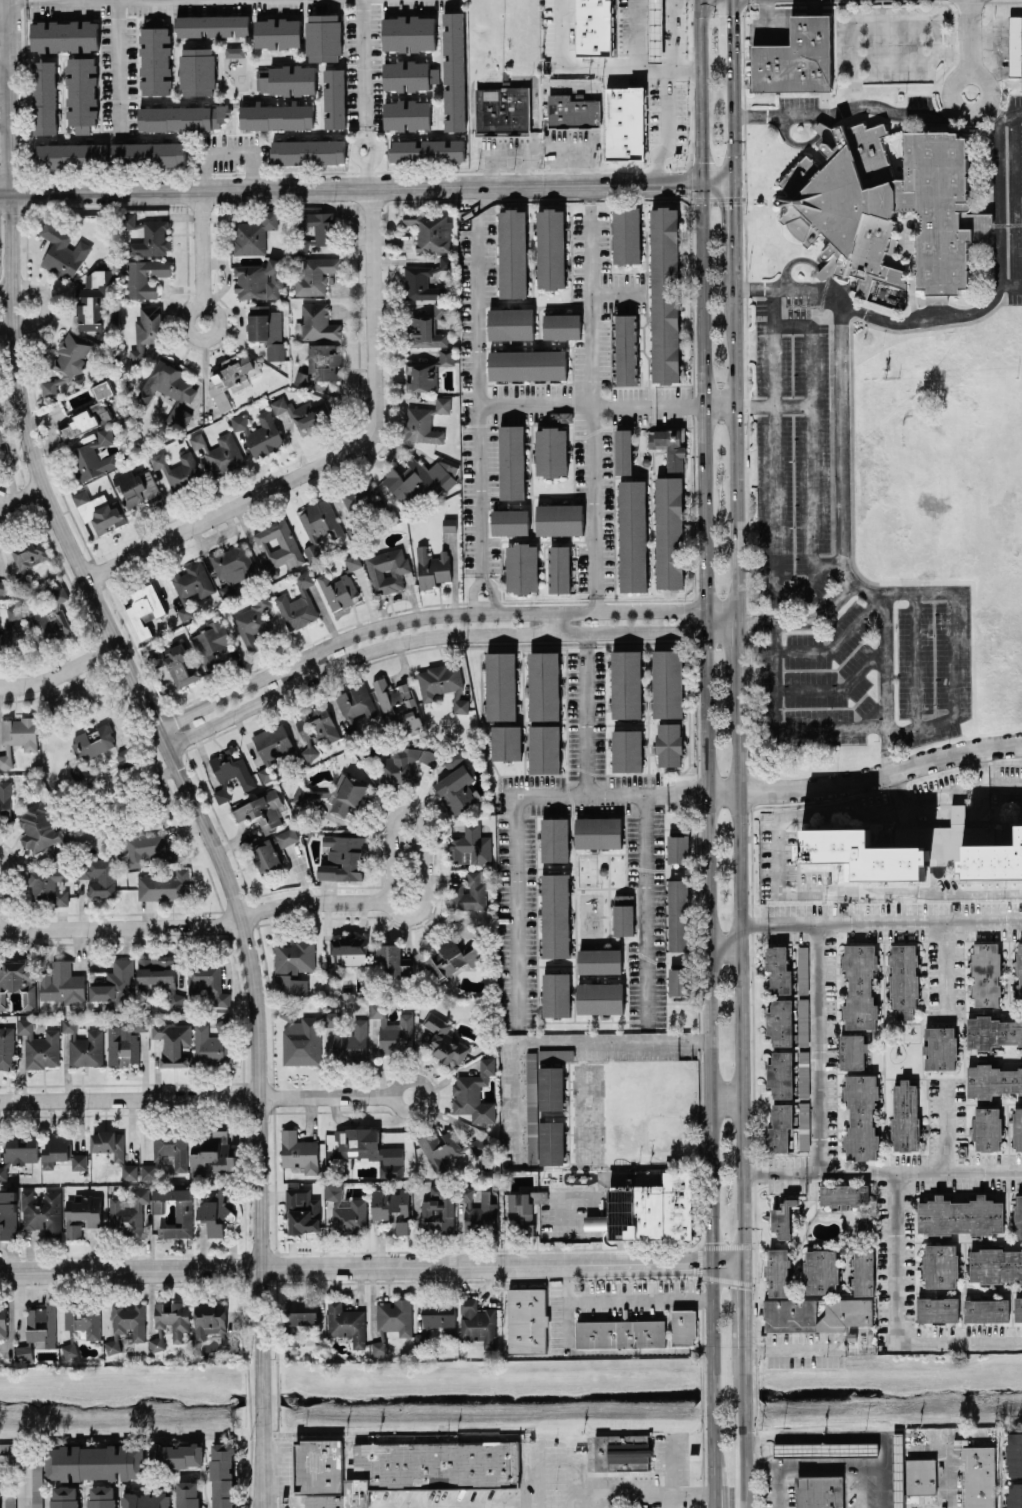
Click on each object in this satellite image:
building: (212, 24)
building: (594, 27)
road: (730, 29)
building: (655, 30)
building: (277, 32)
building: (408, 32)
road: (970, 34)
building: (64, 35)
building: (323, 37)
road: (936, 38)
building: (1015, 45)
building: (234, 51)
road: (953, 51)
building: (155, 56)
road: (6, 57)
building: (795, 58)
road: (599, 63)
road: (855, 63)
road: (118, 69)
building: (197, 70)
building: (454, 70)
building: (410, 75)
road: (958, 78)
building: (286, 79)
building: (81, 93)
road: (366, 93)
building: (43, 97)
building: (334, 97)
road: (846, 106)
building: (502, 110)
building: (573, 111)
road: (1010, 113)
building: (407, 114)
building: (277, 116)
building: (181, 117)
road: (6, 121)
road: (732, 122)
building: (625, 123)
road: (666, 128)
building: (426, 150)
road: (225, 151)
building: (308, 151)
road: (571, 151)
building: (70, 153)
building: (149, 153)
road: (505, 154)
road: (366, 188)
parking lot: (1013, 197)
road: (1015, 198)
building: (885, 205)
building: (315, 229)
building: (429, 230)
road: (733, 230)
building: (253, 233)
building: (626, 234)
building: (146, 235)
building: (63, 248)
road: (201, 248)
building: (550, 248)
building: (512, 253)
building: (315, 274)
building: (144, 277)
building: (423, 279)
building: (258, 280)
road: (1010, 283)
road: (616, 292)
building: (664, 294)
building: (93, 298)
road: (47, 306)
road: (590, 308)
road: (192, 309)
road: (701, 310)
road: (958, 315)
building: (315, 322)
building: (511, 323)
road: (792, 324)
building: (427, 326)
building: (562, 326)
building: (266, 330)
building: (145, 331)
building: (626, 349)
road: (371, 356)
building: (67, 361)
building: (320, 363)
building: (527, 364)
building: (427, 371)
building: (231, 377)
building: (77, 378)
building: (168, 390)
road: (479, 394)
road: (535, 404)
road: (623, 404)
road: (678, 404)
road: (718, 404)
road: (772, 405)
building: (90, 411)
building: (561, 416)
building: (303, 419)
building: (425, 421)
building: (1, 433)
building: (259, 433)
road: (775, 438)
building: (669, 445)
road: (735, 447)
building: (551, 451)
building: (623, 451)
building: (220, 453)
road: (810, 453)
building: (92, 457)
building: (511, 461)
building: (178, 470)
building: (419, 478)
building: (138, 488)
road: (843, 493)
road: (24, 495)
building: (359, 502)
road: (594, 507)
road: (3, 509)
building: (98, 510)
building: (559, 519)
building: (510, 521)
building: (319, 524)
building: (449, 524)
road: (190, 531)
building: (669, 532)
building: (632, 535)
building: (278, 546)
building: (25, 561)
building: (232, 567)
building: (431, 567)
building: (522, 567)
building: (559, 568)
building: (387, 569)
road: (482, 573)
road: (811, 580)
building: (191, 585)
building: (341, 585)
building: (3, 586)
road: (471, 591)
road: (490, 592)
building: (298, 603)
building: (145, 609)
road: (422, 616)
building: (52, 620)
road: (802, 620)
road: (558, 621)
road: (720, 621)
building: (253, 622)
building: (8, 627)
road: (426, 635)
building: (212, 638)
road: (837, 639)
road: (736, 656)
road: (914, 658)
building: (175, 662)
road: (304, 667)
road: (61, 672)
building: (667, 683)
road: (886, 683)
building: (443, 684)
building: (626, 684)
building: (500, 685)
building: (543, 685)
road: (836, 686)
road: (953, 687)
building: (356, 703)
building: (397, 705)
road: (587, 712)
road: (779, 724)
building: (316, 729)
building: (19, 732)
building: (93, 742)
building: (506, 742)
building: (669, 744)
road: (168, 745)
building: (544, 748)
building: (627, 750)
building: (125, 757)
building: (452, 758)
building: (5, 760)
building: (405, 764)
road: (980, 766)
building: (231, 768)
building: (265, 774)
road: (864, 778)
road: (1005, 782)
road: (899, 787)
building: (457, 789)
road: (941, 793)
building: (222, 794)
building: (338, 794)
building: (5, 798)
building: (262, 811)
building: (958, 813)
road: (417, 815)
road: (516, 818)
building: (37, 828)
building: (598, 832)
building: (555, 839)
building: (470, 845)
building: (678, 848)
building: (149, 849)
building: (271, 849)
building: (863, 854)
building: (57, 857)
building: (343, 857)
building: (993, 860)
road: (3, 865)
building: (99, 876)
building: (48, 885)
building: (164, 885)
building: (468, 893)
road: (801, 895)
road: (645, 910)
building: (623, 914)
building: (555, 915)
building: (678, 915)
road: (893, 921)
road: (752, 923)
road: (195, 925)
road: (706, 942)
road: (723, 948)
building: (349, 949)
building: (393, 958)
building: (450, 959)
building: (599, 960)
building: (292, 964)
road: (944, 967)
building: (802, 968)
building: (778, 969)
building: (1019, 970)
building: (332, 972)
building: (986, 973)
building: (904, 974)
building: (159, 978)
road: (739, 978)
building: (207, 980)
building: (679, 980)
building: (18, 981)
building: (62, 983)
building: (116, 985)
building: (860, 987)
building: (556, 994)
building: (600, 997)
building: (904, 1012)
building: (802, 1021)
building: (780, 1022)
building: (393, 1031)
building: (992, 1031)
building: (300, 1037)
building: (347, 1037)
building: (444, 1040)
road: (611, 1040)
building: (124, 1042)
building: (173, 1043)
building: (39, 1045)
building: (83, 1045)
building: (209, 1046)
building: (6, 1047)
road: (817, 1047)
building: (940, 1047)
building: (852, 1051)
building: (803, 1073)
building: (780, 1074)
building: (992, 1079)
building: (550, 1087)
building: (474, 1093)
road: (195, 1097)
road: (724, 1100)
road: (515, 1103)
road: (400, 1107)
building: (531, 1111)
building: (905, 1115)
building: (861, 1116)
road: (945, 1124)
building: (804, 1125)
building: (780, 1126)
building: (987, 1128)
building: (1018, 1129)
building: (551, 1142)
building: (479, 1145)
building: (438, 1147)
building: (173, 1148)
building: (56, 1149)
building: (369, 1149)
building: (114, 1150)
building: (18, 1151)
building: (299, 1151)
building: (78, 1161)
building: (148, 1171)
road: (912, 1171)
road: (772, 1172)
road: (574, 1192)
building: (844, 1194)
building: (388, 1203)
building: (524, 1207)
building: (217, 1210)
building: (438, 1210)
building: (648, 1210)
building: (41, 1211)
building: (128, 1211)
building: (175, 1211)
building: (302, 1211)
building: (347, 1212)
building: (7, 1214)
building: (82, 1214)
building: (960, 1215)
building: (1018, 1216)
building: (782, 1218)
building: (866, 1222)
building: (402, 1226)
traffic signals: (710, 1264)
road: (726, 1264)
building: (940, 1264)
road: (484, 1265)
traffic signals: (742, 1265)
building: (995, 1265)
road: (129, 1270)
building: (821, 1271)
building: (863, 1271)
building: (778, 1272)
road: (639, 1298)
road: (742, 1306)
building: (1018, 1308)
building: (937, 1309)
building: (986, 1309)
road: (568, 1310)
building: (301, 1312)
building: (816, 1313)
building: (394, 1315)
building: (440, 1315)
building: (83, 1318)
building: (173, 1318)
road: (895, 1318)
building: (2, 1320)
building: (526, 1320)
building: (346, 1322)
building: (477, 1322)
building: (126, 1324)
building: (213, 1324)
building: (41, 1325)
building: (683, 1327)
building: (620, 1334)
building: (421, 1340)
building: (157, 1343)
road: (791, 1346)
building: (379, 1347)
building: (69, 1349)
building: (24, 1351)
road: (711, 1374)
road: (743, 1427)
road: (947, 1438)
building: (8, 1447)
building: (832, 1447)
building: (621, 1452)
building: (1014, 1453)
building: (177, 1455)
road: (11, 1459)
building: (94, 1462)
road: (774, 1465)
road: (835, 1465)
road: (673, 1467)
building: (402, 1469)
building: (898, 1470)
road: (946, 1473)
building: (222, 1475)
building: (920, 1476)
building: (979, 1476)
road: (552, 1477)
road: (280, 1478)
road: (22, 1483)
building: (36, 1485)
building: (819, 1491)
road: (640, 1493)
building: (187, 1494)
building: (1014, 1495)
building: (64, 1496)
building: (102, 1496)
road: (712, 1497)
building: (145, 1500)
road: (674, 1500)
building: (9, 1502)

